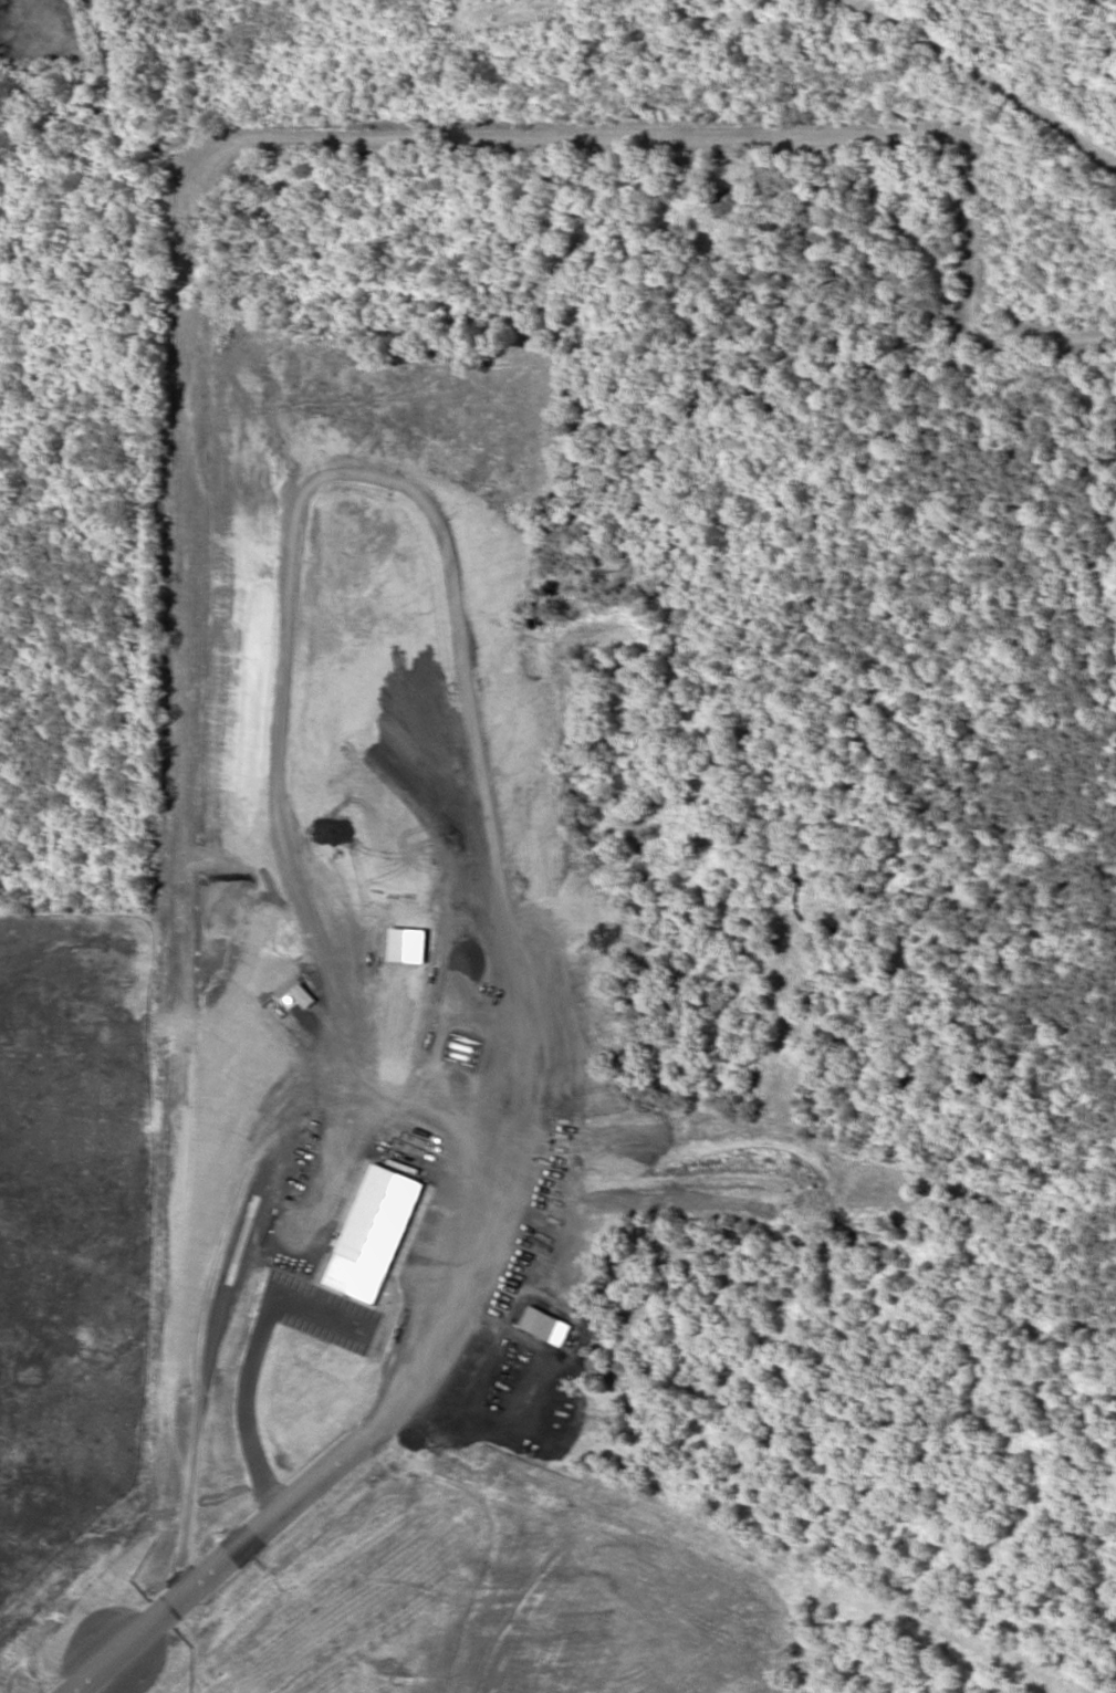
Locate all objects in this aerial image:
building: (374, 1231)
road: (220, 1563)

